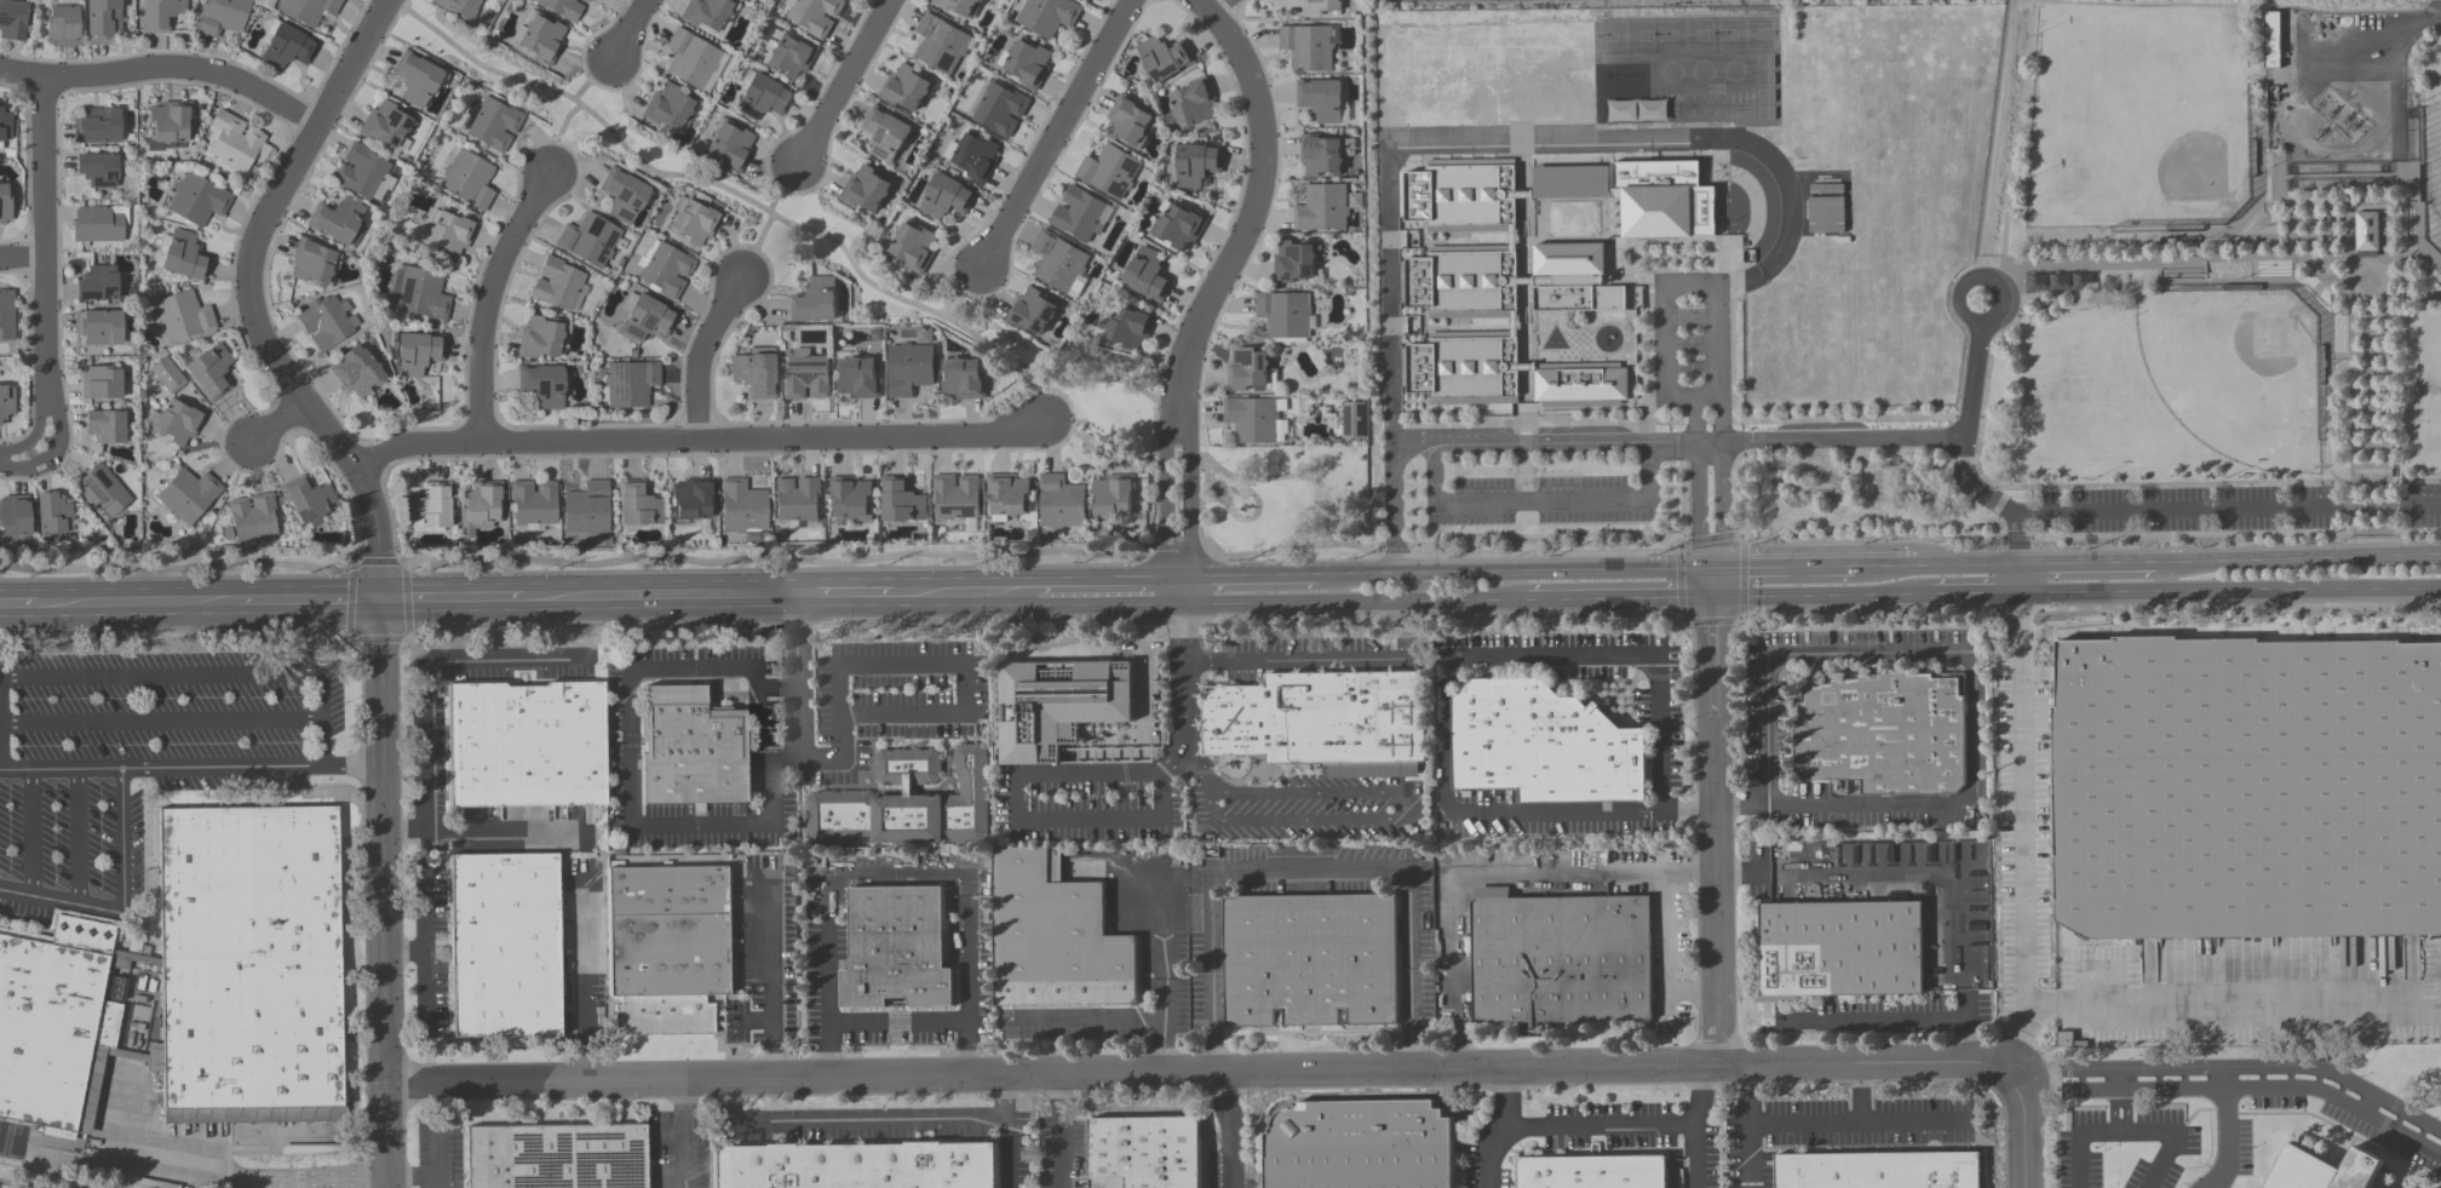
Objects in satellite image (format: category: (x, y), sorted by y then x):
building: (1086, 0)
building: (584, 1)
building: (957, 5)
road: (1218, 6)
building: (1320, 6)
building: (459, 7)
building: (563, 8)
building: (309, 10)
building: (706, 12)
road: (2434, 12)
building: (161, 15)
road: (378, 15)
building: (814, 15)
building: (222, 16)
building: (1047, 16)
building: (12, 19)
building: (103, 21)
building: (63, 25)
road: (625, 33)
road: (2313, 35)
building: (540, 38)
building: (2269, 39)
building: (940, 44)
building: (287, 46)
building: (1308, 47)
building: (791, 56)
building: (691, 58)
building: (1165, 58)
building: (1028, 63)
park: (1701, 65)
road: (162, 73)
building: (418, 78)
road: (844, 84)
building: (906, 87)
building: (763, 98)
building: (1321, 98)
building: (1194, 102)
building: (668, 107)
building: (1000, 109)
building: (1636, 110)
road: (567, 116)
park: (2138, 119)
building: (1128, 121)
building: (492, 124)
building: (385, 125)
road: (2016, 125)
building: (5, 126)
building: (97, 126)
building: (170, 126)
road: (1063, 132)
building: (885, 133)
park: (2433, 140)
building: (236, 142)
building: (730, 147)
building: (1323, 155)
building: (972, 156)
building: (1469, 162)
building: (1193, 163)
building: (98, 170)
building: (360, 171)
building: (1109, 171)
building: (469, 179)
building: (1569, 183)
building: (1825, 188)
building: (866, 189)
road: (2255, 194)
building: (622, 195)
building: (1461, 195)
building: (1523, 195)
building: (947, 197)
building: (197, 199)
building: (5, 203)
road: (2368, 203)
road: (1248, 205)
building: (1322, 207)
building: (1660, 210)
road: (2270, 210)
building: (1078, 214)
building: (1825, 214)
building: (695, 219)
building: (338, 220)
road: (769, 220)
building: (99, 223)
building: (1178, 225)
building: (449, 233)
road: (2347, 234)
building: (2365, 236)
road: (44, 239)
building: (1511, 239)
building: (590, 240)
road: (2184, 242)
road: (1389, 245)
building: (914, 247)
road: (253, 249)
road: (2403, 249)
building: (184, 256)
building: (1058, 262)
building: (1294, 262)
building: (312, 263)
road: (22, 266)
building: (665, 270)
building: (1148, 275)
road: (2177, 279)
building: (1573, 280)
building: (1533, 281)
building: (1607, 281)
road: (1978, 281)
building: (1463, 282)
building: (98, 283)
building: (557, 283)
road: (2278, 286)
road: (959, 291)
building: (423, 293)
road: (2403, 295)
road: (488, 300)
building: (815, 302)
building: (1033, 311)
building: (1283, 314)
building: (7, 315)
building: (183, 316)
building: (647, 318)
building: (326, 322)
building: (1514, 326)
building: (99, 327)
building: (1128, 328)
building: (540, 338)
parking lot: (1690, 340)
building: (418, 352)
road: (702, 356)
road: (1662, 362)
building: (1567, 366)
building: (909, 368)
building: (1464, 368)
building: (1248, 371)
building: (211, 372)
building: (357, 372)
building: (756, 373)
road: (2367, 373)
building: (167, 374)
park: (2235, 374)
building: (805, 375)
road: (1080, 377)
building: (857, 378)
building: (963, 379)
building: (100, 384)
building: (630, 384)
building: (542, 385)
building: (1585, 385)
park: (2429, 390)
road: (46, 401)
building: (1469, 401)
building: (6, 402)
building: (1580, 403)
road: (1717, 413)
building: (1254, 419)
building: (178, 421)
building: (1351, 421)
road: (1613, 421)
building: (105, 426)
road: (274, 426)
road: (1966, 432)
road: (1676, 443)
road: (701, 444)
road: (2393, 446)
road: (13, 449)
road: (1672, 450)
road: (1524, 463)
road: (33, 469)
road: (1288, 480)
road: (1966, 487)
road: (2096, 488)
building: (102, 490)
building: (188, 495)
building: (1113, 495)
building: (851, 497)
building: (955, 497)
building: (1009, 497)
building: (691, 499)
building: (798, 499)
building: (308, 500)
building: (901, 500)
road: (1698, 500)
parking lot: (1543, 501)
building: (1061, 503)
road: (1518, 503)
building: (534, 504)
building: (638, 505)
road: (1188, 505)
building: (479, 506)
road: (1162, 506)
building: (430, 507)
building: (586, 509)
building: (743, 509)
road: (2368, 509)
parking lot: (2224, 510)
road: (1391, 512)
building: (53, 515)
road: (2228, 515)
building: (15, 516)
building: (253, 517)
road: (1717, 520)
road: (369, 533)
road: (2034, 538)
road: (2016, 557)
road: (2297, 558)
road: (2085, 563)
road: (1965, 566)
road: (1786, 567)
road: (1884, 567)
traffic signals: (1700, 568)
traffic signals: (1718, 568)
road: (1555, 569)
road: (1355, 573)
road: (1247, 574)
road: (2228, 590)
road: (1108, 591)
road: (964, 593)
road: (1974, 593)
road: (843, 595)
road: (1822, 596)
road: (659, 597)
traffic signals: (1715, 597)
road: (1620, 598)
road: (452, 599)
traffic signals: (381, 601)
road: (310, 602)
road: (1350, 602)
road: (137, 604)
road: (18, 606)
road: (1296, 658)
road: (1471, 659)
road: (918, 660)
road: (1972, 672)
road: (426, 675)
road: (201, 676)
building: (1058, 707)
road: (161, 723)
building: (1323, 723)
road: (404, 734)
building: (1885, 734)
building: (525, 745)
building: (1543, 746)
building: (690, 750)
road: (252, 764)
road: (59, 768)
road: (1206, 784)
building: (2246, 787)
building: (906, 803)
road: (1403, 805)
road: (2021, 813)
road: (1116, 821)
road: (648, 825)
road: (34, 831)
road: (1717, 833)
road: (79, 836)
road: (1288, 865)
road: (1912, 872)
road: (1736, 873)
road: (1491, 880)
road: (386, 894)
road: (966, 900)
road: (121, 901)
road: (425, 907)
building: (1055, 936)
building: (505, 946)
building: (666, 948)
road: (407, 951)
building: (896, 951)
building: (1838, 951)
building: (1560, 959)
road: (1664, 959)
building: (249, 962)
building: (1310, 962)
road: (1213, 972)
road: (585, 980)
road: (827, 982)
road: (770, 987)
road: (2248, 1004)
road: (1879, 1017)
road: (1090, 1018)
road: (897, 1021)
road: (1966, 1029)
building: (47, 1031)
road: (2018, 1035)
road: (2234, 1066)
road: (1200, 1072)
road: (2118, 1079)
road: (2235, 1087)
road: (2367, 1102)
road: (1830, 1121)
road: (1908, 1123)
road: (843, 1124)
road: (1620, 1126)
road: (2014, 1127)
road: (1493, 1129)
road: (1747, 1129)
road: (1006, 1130)
road: (1061, 1130)
road: (1227, 1130)
road: (2118, 1130)
road: (682, 1131)
road: (2222, 1135)
road: (2172, 1138)
road: (2074, 1141)
building: (1360, 1144)
road: (438, 1152)
building: (1144, 1153)
road: (1690, 1157)
building: (555, 1158)
building: (2324, 1165)
building: (857, 1166)
building: (1877, 1171)
building: (1591, 1172)
road: (419, 1177)
road: (220, 1178)
building: (2429, 1186)

